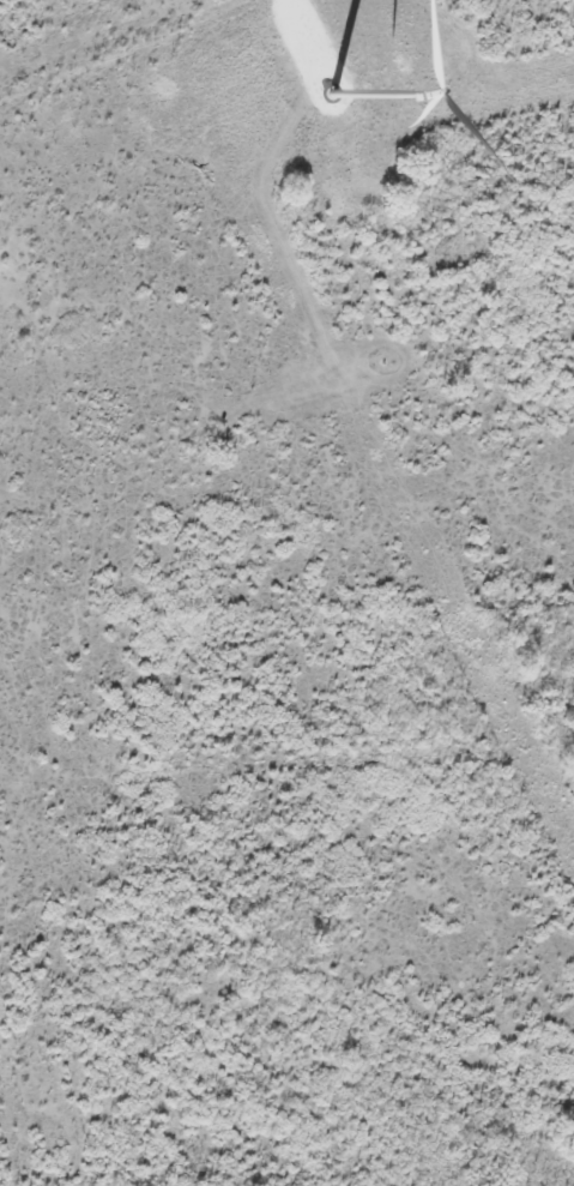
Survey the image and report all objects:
wind turbine: (331, 85)

